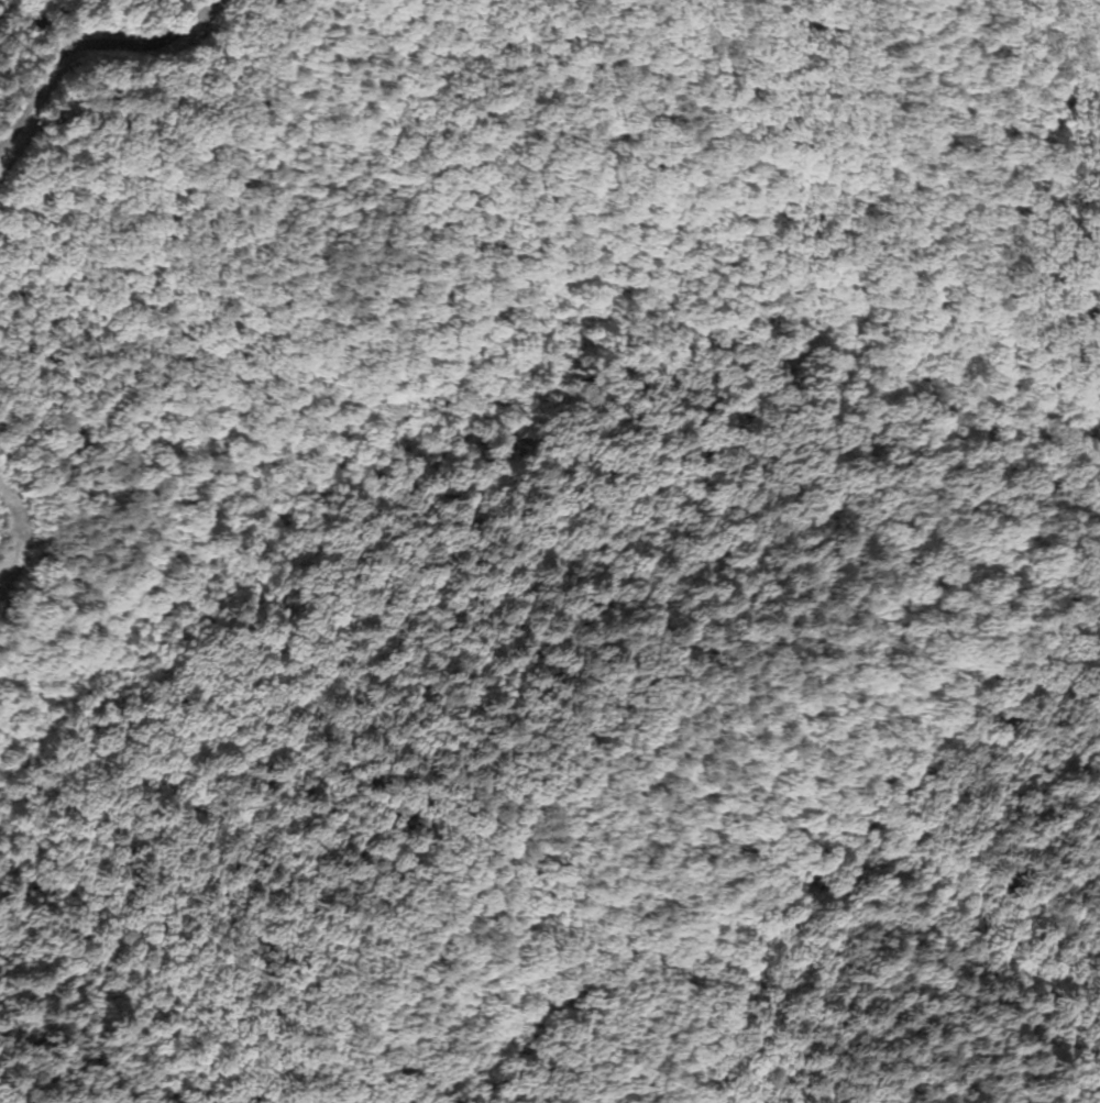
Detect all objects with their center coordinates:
road: (78, 16)
road: (5, 523)

